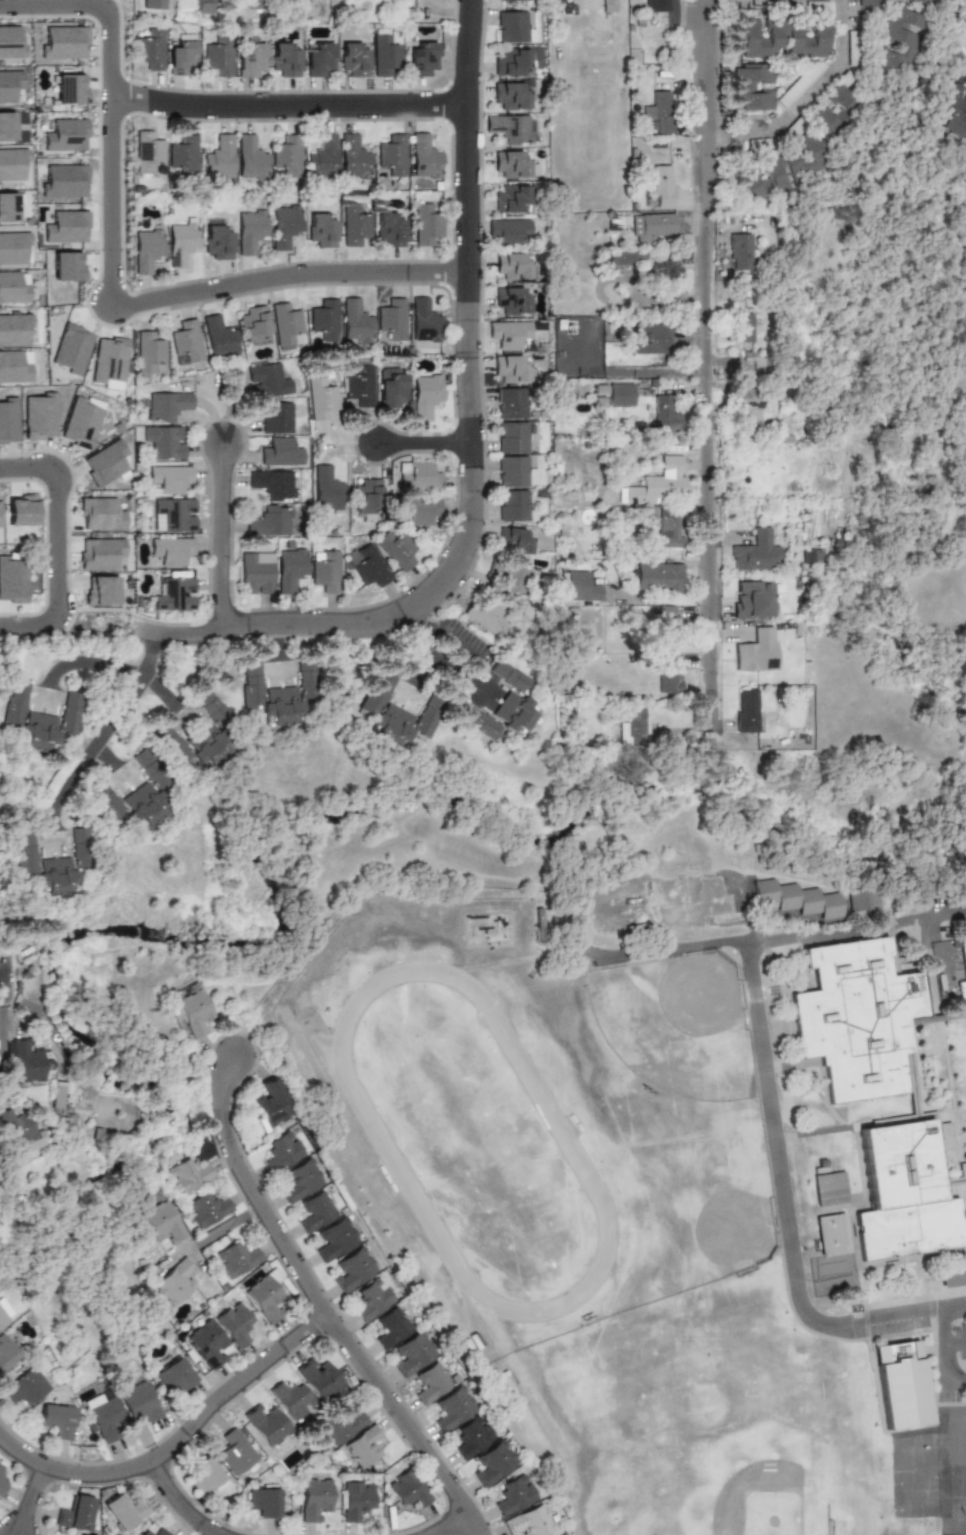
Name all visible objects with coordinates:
building: (498, 0)
building: (252, 3)
building: (873, 3)
building: (923, 3)
building: (153, 4)
building: (606, 5)
building: (655, 5)
building: (202, 6)
building: (560, 7)
building: (512, 27)
building: (781, 38)
building: (897, 40)
building: (10, 41)
building: (63, 42)
building: (963, 44)
building: (150, 49)
building: (386, 52)
building: (182, 54)
building: (219, 55)
building: (421, 57)
building: (249, 59)
building: (319, 59)
building: (285, 60)
building: (354, 60)
building: (510, 63)
road: (960, 72)
building: (9, 84)
building: (752, 87)
building: (69, 88)
building: (511, 94)
road: (804, 100)
road: (287, 105)
road: (110, 107)
building: (951, 111)
building: (659, 112)
building: (818, 112)
building: (7, 125)
building: (512, 128)
building: (65, 135)
building: (148, 153)
building: (322, 153)
building: (286, 155)
building: (353, 155)
building: (392, 155)
building: (182, 156)
building: (219, 157)
building: (250, 157)
building: (424, 157)
building: (513, 164)
building: (782, 167)
building: (63, 180)
building: (662, 186)
building: (510, 199)
building: (7, 207)
building: (284, 224)
building: (426, 224)
building: (354, 225)
building: (657, 225)
building: (65, 227)
building: (390, 229)
building: (250, 230)
building: (321, 230)
building: (509, 230)
building: (218, 242)
building: (182, 243)
building: (13, 247)
building: (147, 249)
building: (739, 251)
building: (625, 257)
building: (66, 265)
building: (513, 266)
building: (666, 271)
road: (287, 276)
building: (13, 287)
building: (511, 300)
building: (391, 318)
building: (324, 319)
building: (424, 320)
building: (355, 321)
building: (253, 323)
building: (286, 325)
building: (741, 327)
building: (13, 329)
building: (509, 333)
building: (218, 336)
building: (652, 337)
building: (187, 340)
building: (71, 348)
building: (149, 354)
building: (107, 362)
building: (14, 366)
road: (704, 367)
building: (510, 368)
building: (266, 380)
building: (357, 385)
building: (393, 391)
building: (425, 394)
building: (620, 395)
building: (320, 398)
building: (512, 402)
building: (167, 405)
building: (745, 409)
building: (39, 415)
building: (276, 417)
building: (663, 417)
building: (8, 420)
building: (80, 420)
building: (512, 436)
building: (164, 441)
road: (422, 444)
road: (469, 449)
building: (280, 452)
building: (104, 463)
building: (516, 472)
building: (417, 475)
building: (169, 478)
building: (661, 481)
building: (271, 483)
building: (326, 488)
building: (366, 497)
building: (514, 505)
building: (419, 509)
building: (175, 513)
building: (100, 514)
building: (267, 522)
road: (56, 529)
building: (669, 531)
building: (514, 540)
road: (230, 542)
building: (395, 548)
building: (172, 550)
building: (755, 552)
building: (100, 553)
building: (811, 556)
building: (366, 565)
building: (289, 569)
building: (324, 570)
building: (257, 573)
building: (510, 575)
building: (659, 577)
building: (12, 580)
building: (581, 586)
building: (100, 591)
building: (176, 592)
building: (752, 598)
building: (488, 613)
building: (666, 619)
road: (14, 623)
building: (672, 633)
road: (158, 647)
road: (283, 649)
building: (756, 651)
road: (435, 654)
road: (119, 668)
building: (669, 673)
building: (489, 692)
building: (278, 693)
building: (505, 706)
building: (746, 710)
building: (393, 713)
building: (38, 719)
building: (635, 726)
building: (198, 736)
road: (99, 743)
building: (148, 768)
building: (127, 805)
building: (53, 864)
building: (797, 898)
road: (854, 925)
road: (936, 941)
building: (962, 956)
road: (0, 980)
building: (192, 1008)
building: (852, 1018)
road: (755, 1019)
building: (24, 1060)
building: (56, 1094)
building: (272, 1104)
track: (371, 1124)
road: (818, 1131)
building: (20, 1132)
park: (473, 1141)
building: (282, 1151)
building: (963, 1172)
building: (187, 1175)
building: (300, 1180)
building: (828, 1187)
road: (251, 1189)
building: (904, 1194)
building: (206, 1208)
building: (316, 1211)
building: (163, 1223)
building: (830, 1233)
building: (335, 1238)
building: (236, 1258)
building: (353, 1269)
building: (952, 1279)
building: (174, 1281)
building: (265, 1296)
building: (371, 1299)
building: (3, 1317)
building: (234, 1323)
building: (390, 1327)
road: (944, 1335)
parking lot: (961, 1338)
building: (206, 1343)
road: (955, 1343)
building: (6, 1353)
building: (412, 1353)
building: (174, 1374)
building: (320, 1378)
road: (963, 1379)
building: (901, 1380)
building: (433, 1382)
building: (25, 1386)
building: (291, 1398)
building: (138, 1401)
building: (453, 1408)
building: (104, 1415)
building: (57, 1419)
building: (266, 1424)
building: (339, 1424)
road: (399, 1424)
building: (471, 1436)
road: (175, 1441)
building: (364, 1445)
building: (235, 1452)
building: (493, 1463)
building: (0, 1466)
building: (205, 1476)
building: (1, 1482)
building: (406, 1489)
building: (513, 1495)
road: (24, 1498)
building: (314, 1498)
building: (354, 1500)
building: (262, 1501)
road: (179, 1503)
building: (75, 1512)
building: (120, 1512)
building: (529, 1521)
road: (449, 1523)
building: (144, 1532)
building: (160, 1532)

